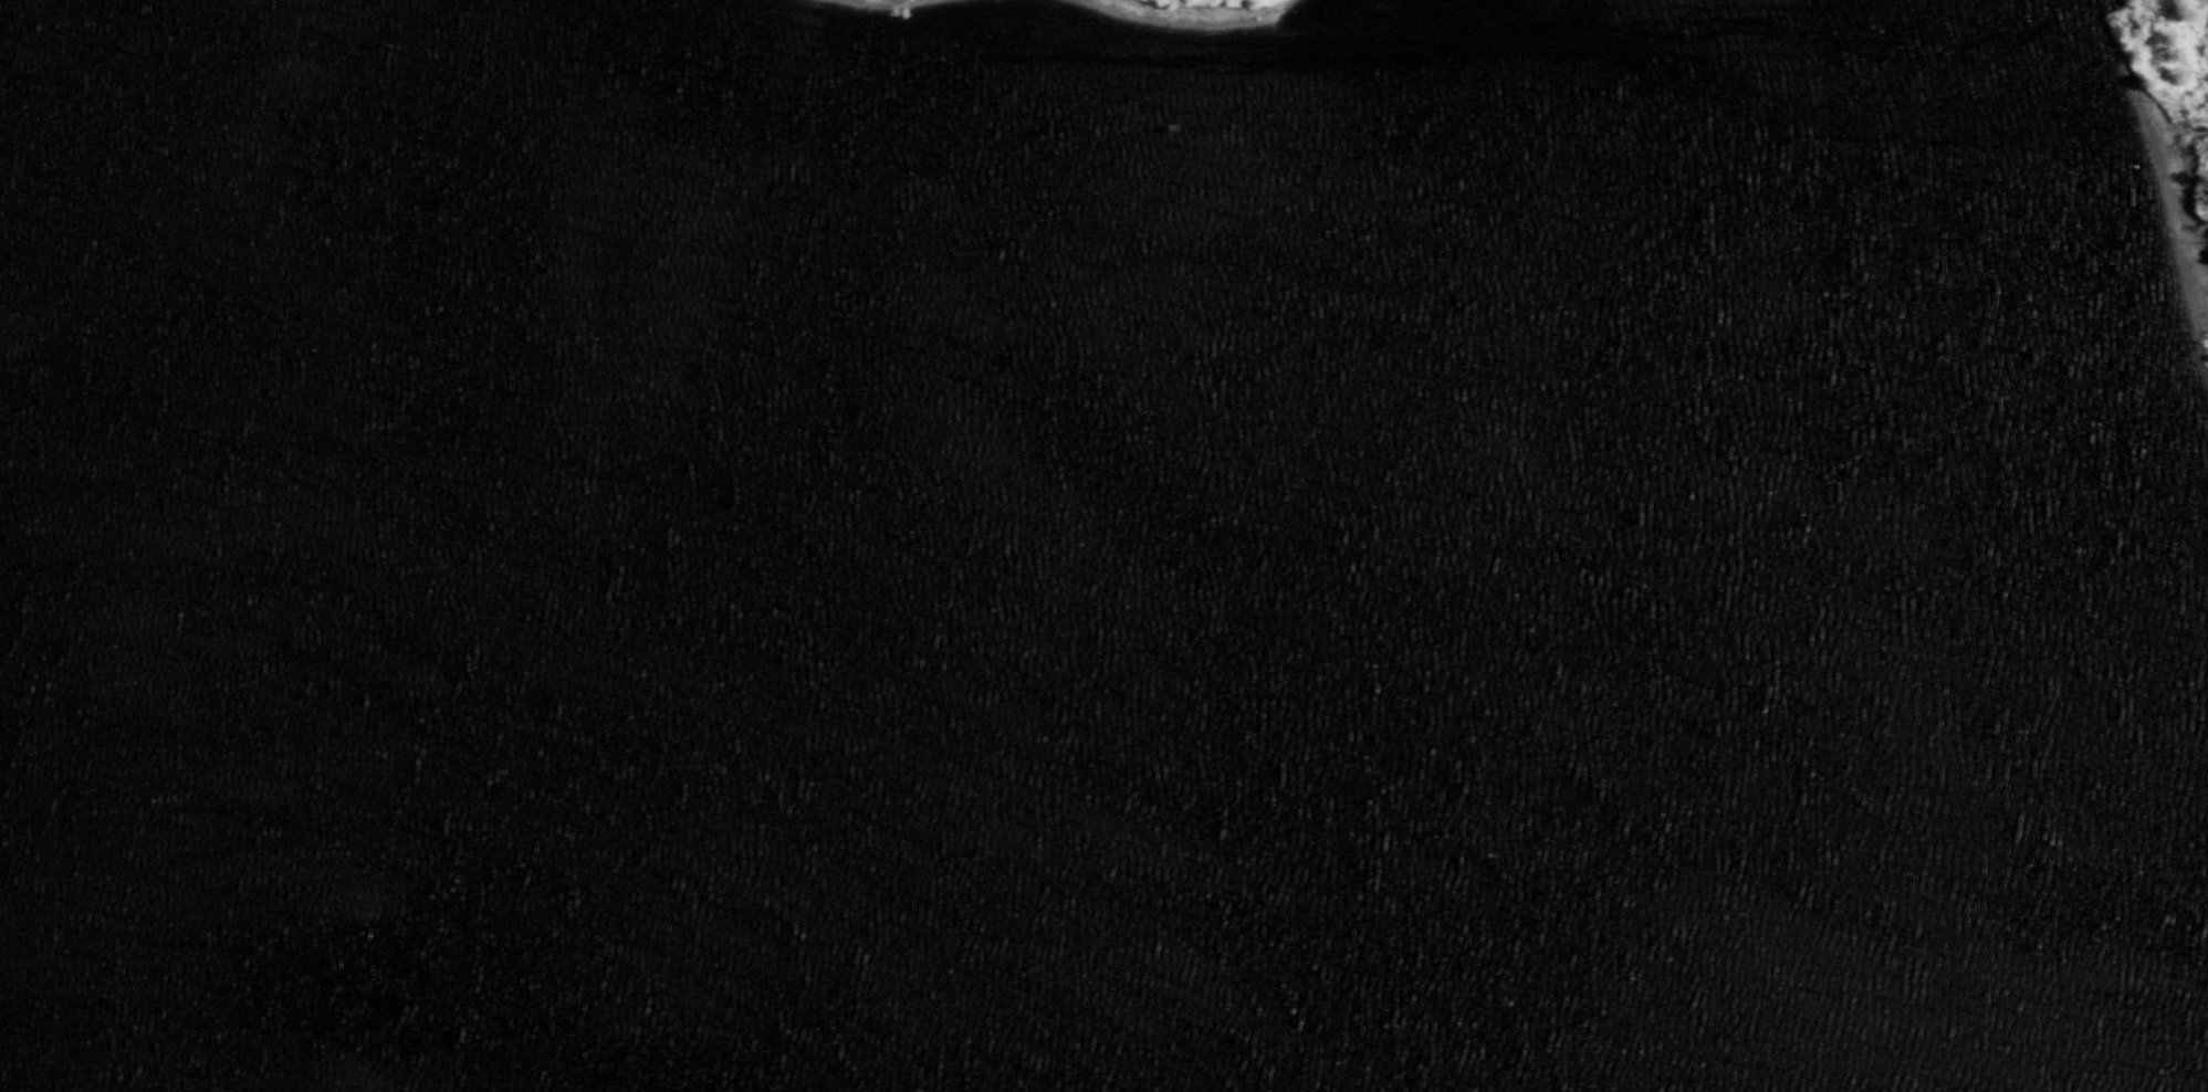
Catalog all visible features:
road: (659, 6)
river: (956, 626)

